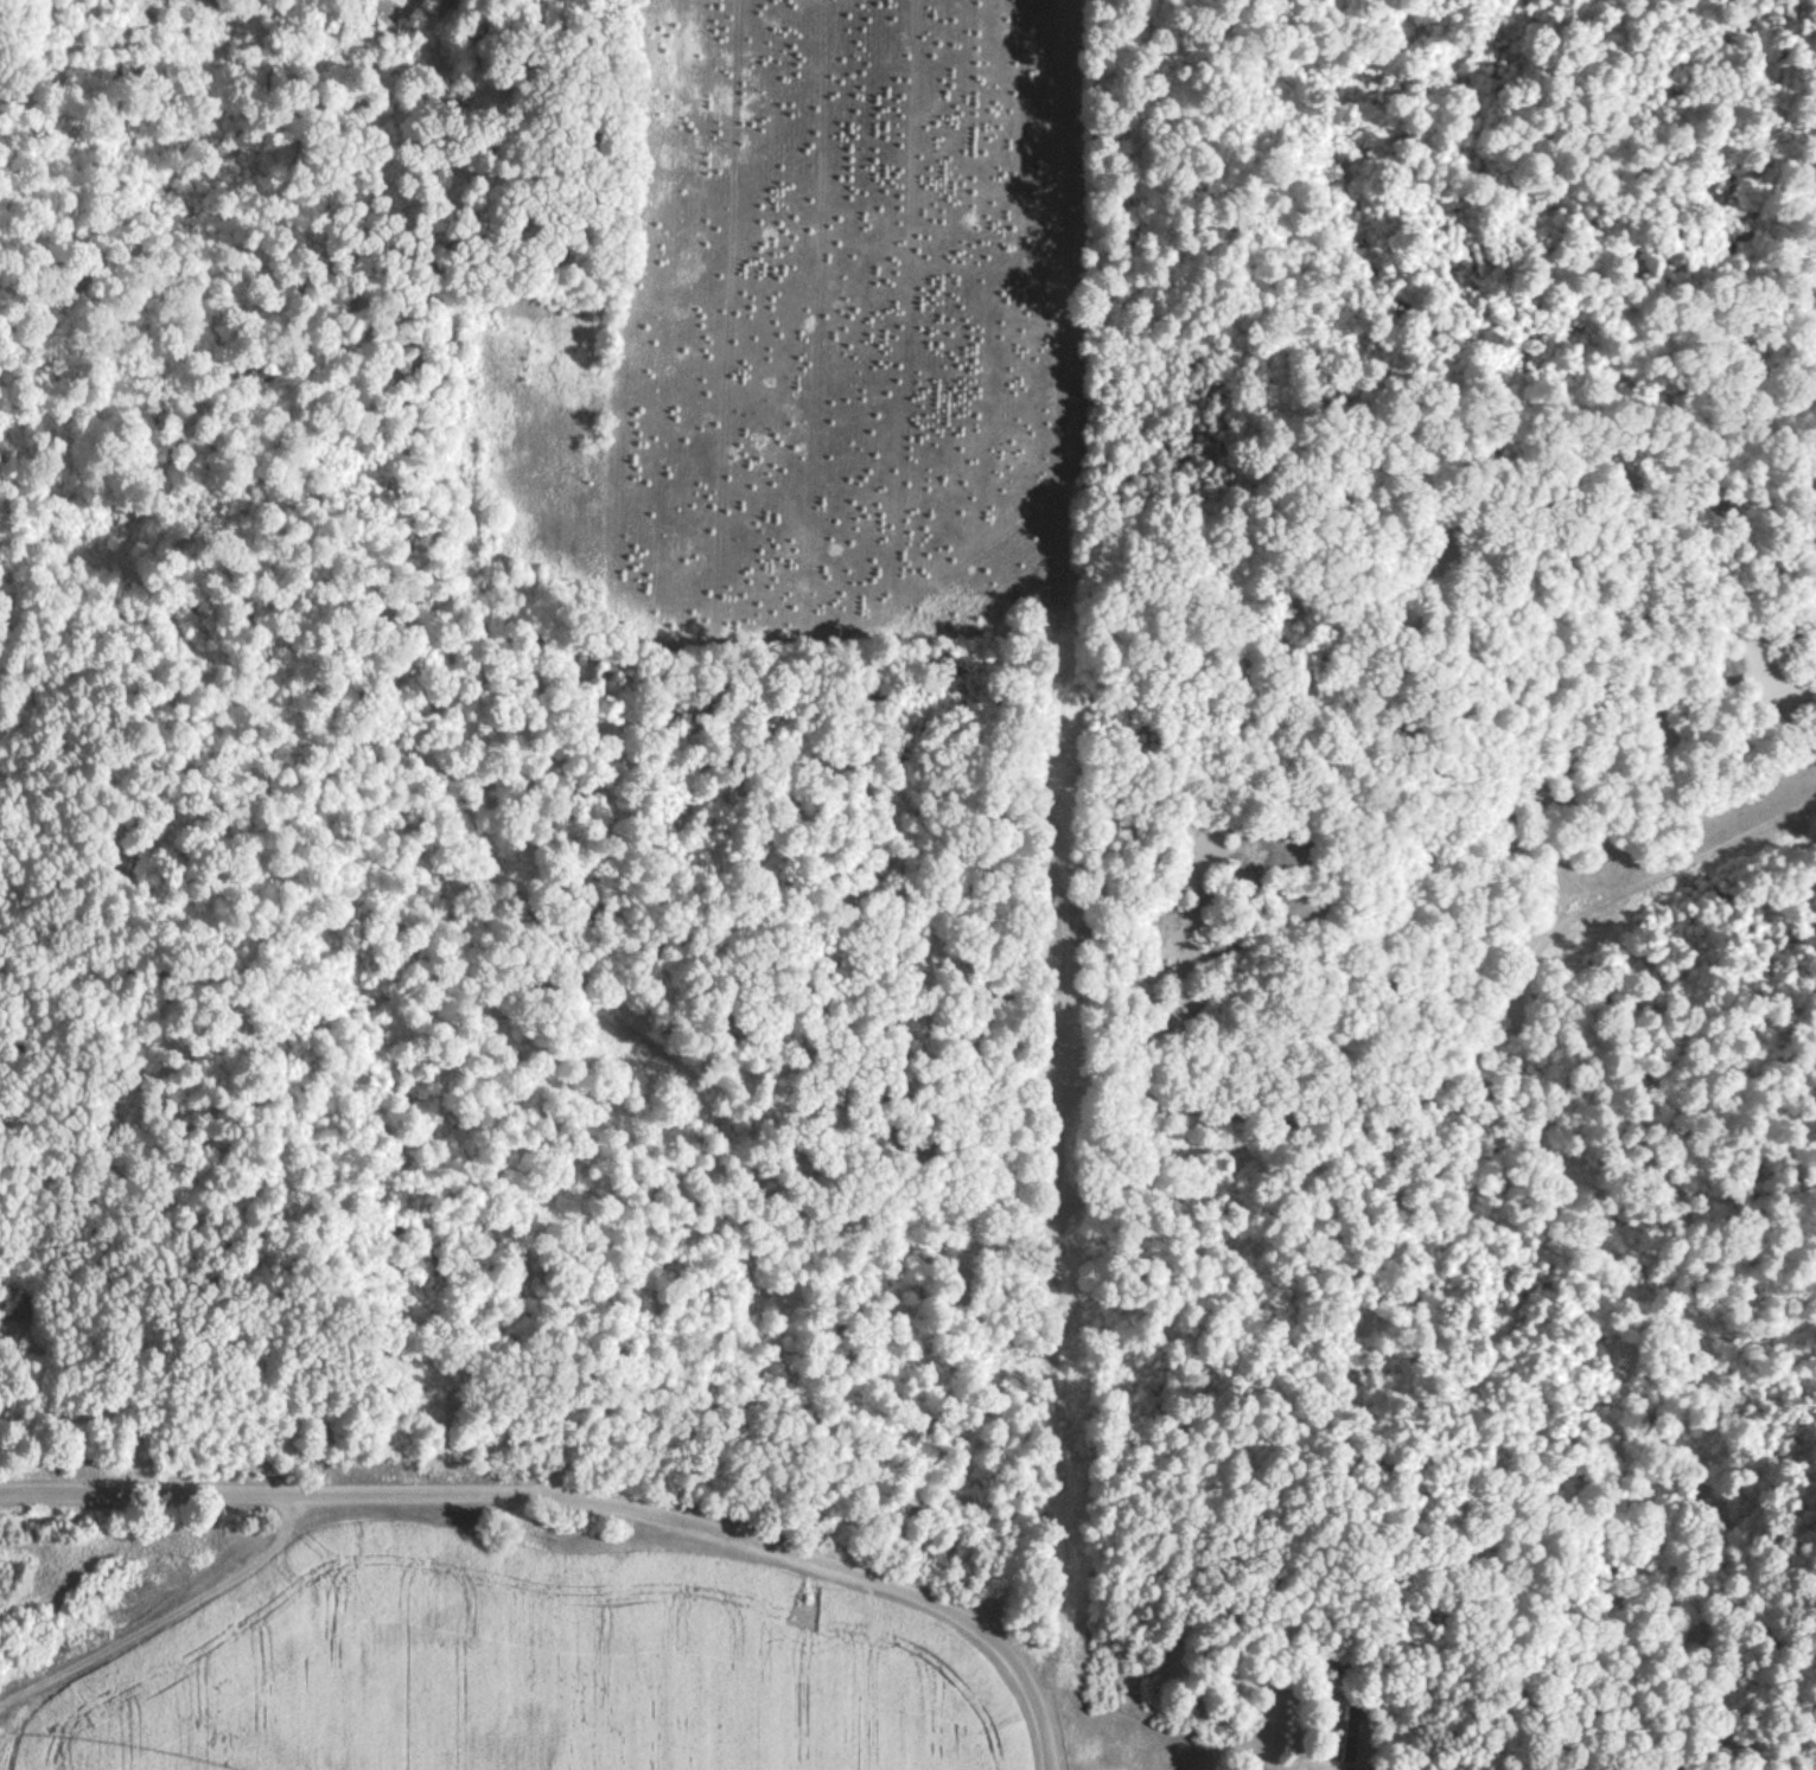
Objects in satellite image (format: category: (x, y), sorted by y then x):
road: (390, 1474)
building: (246, 1578)
road: (956, 1600)
building: (1346, 1739)

